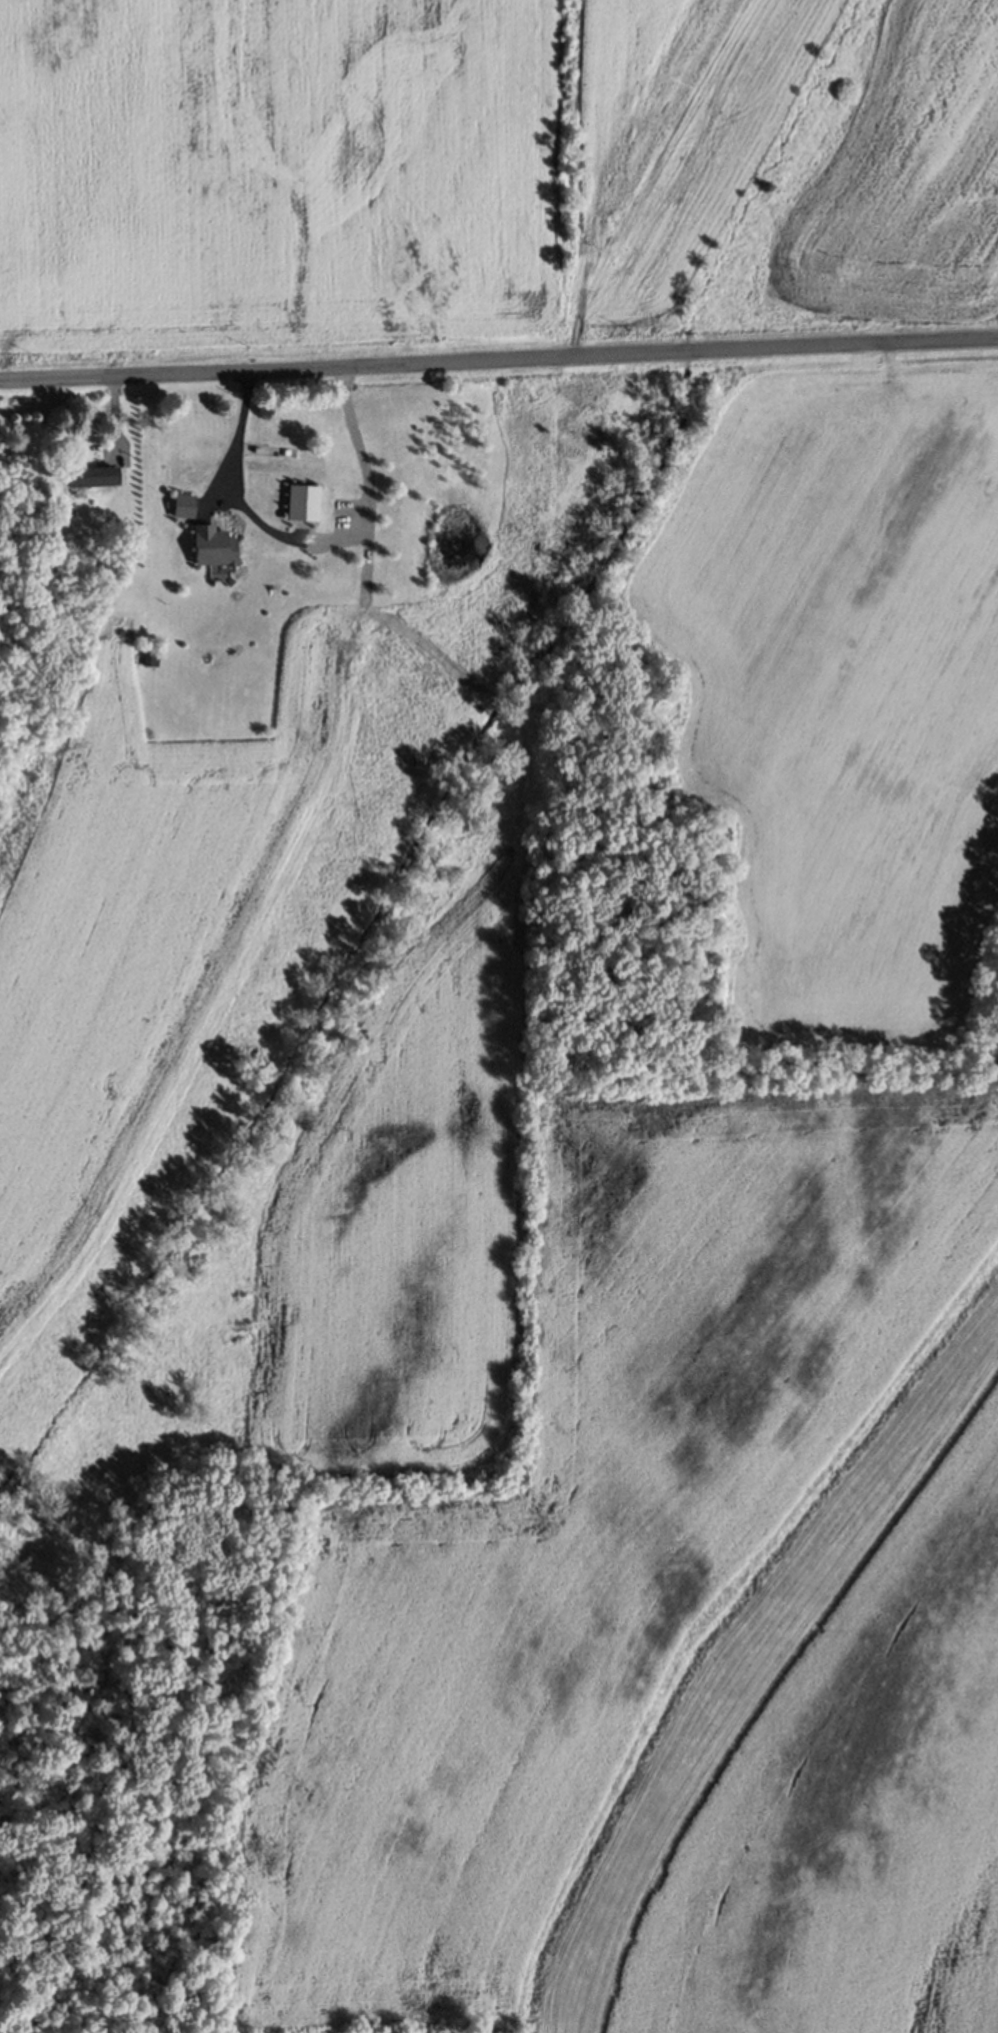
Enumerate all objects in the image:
road: (499, 361)
building: (93, 474)
building: (299, 496)
building: (184, 503)
road: (313, 536)
building: (213, 544)

